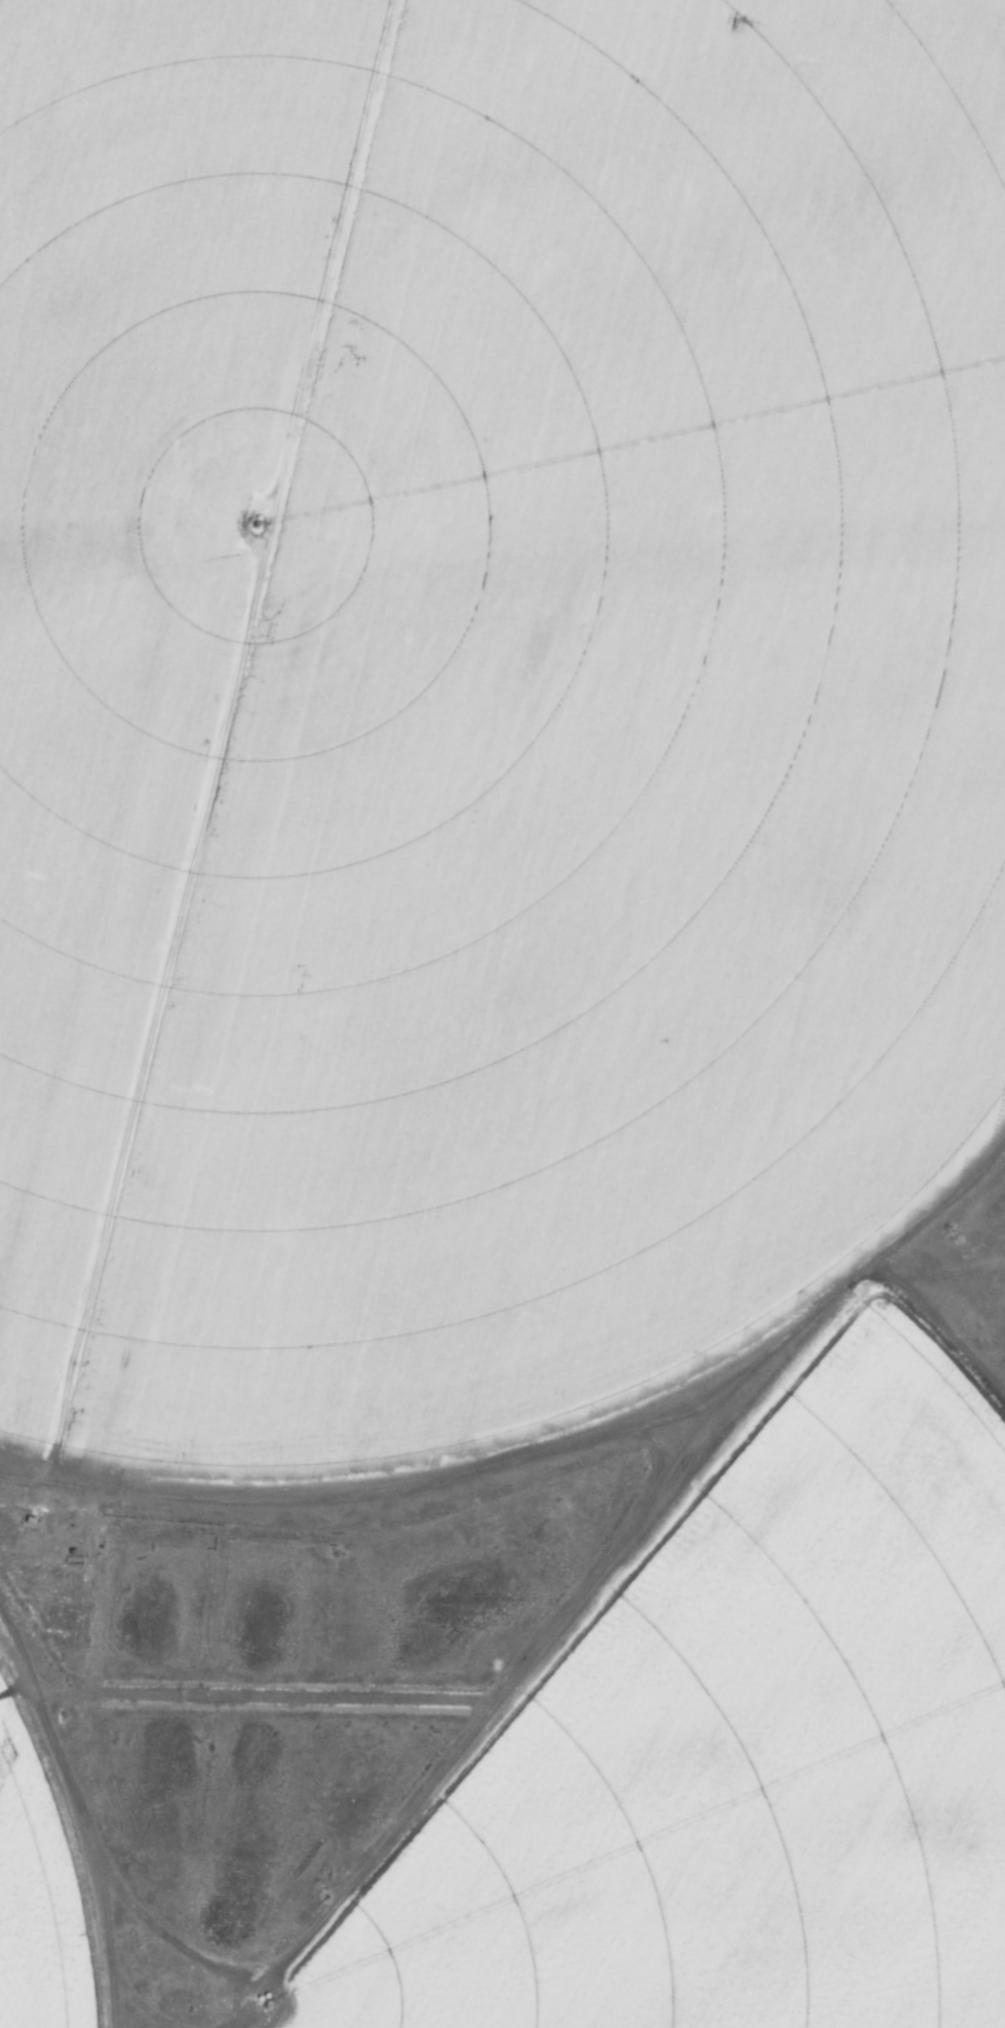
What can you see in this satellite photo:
crop: (483, 690)
building: (24, 1514)

